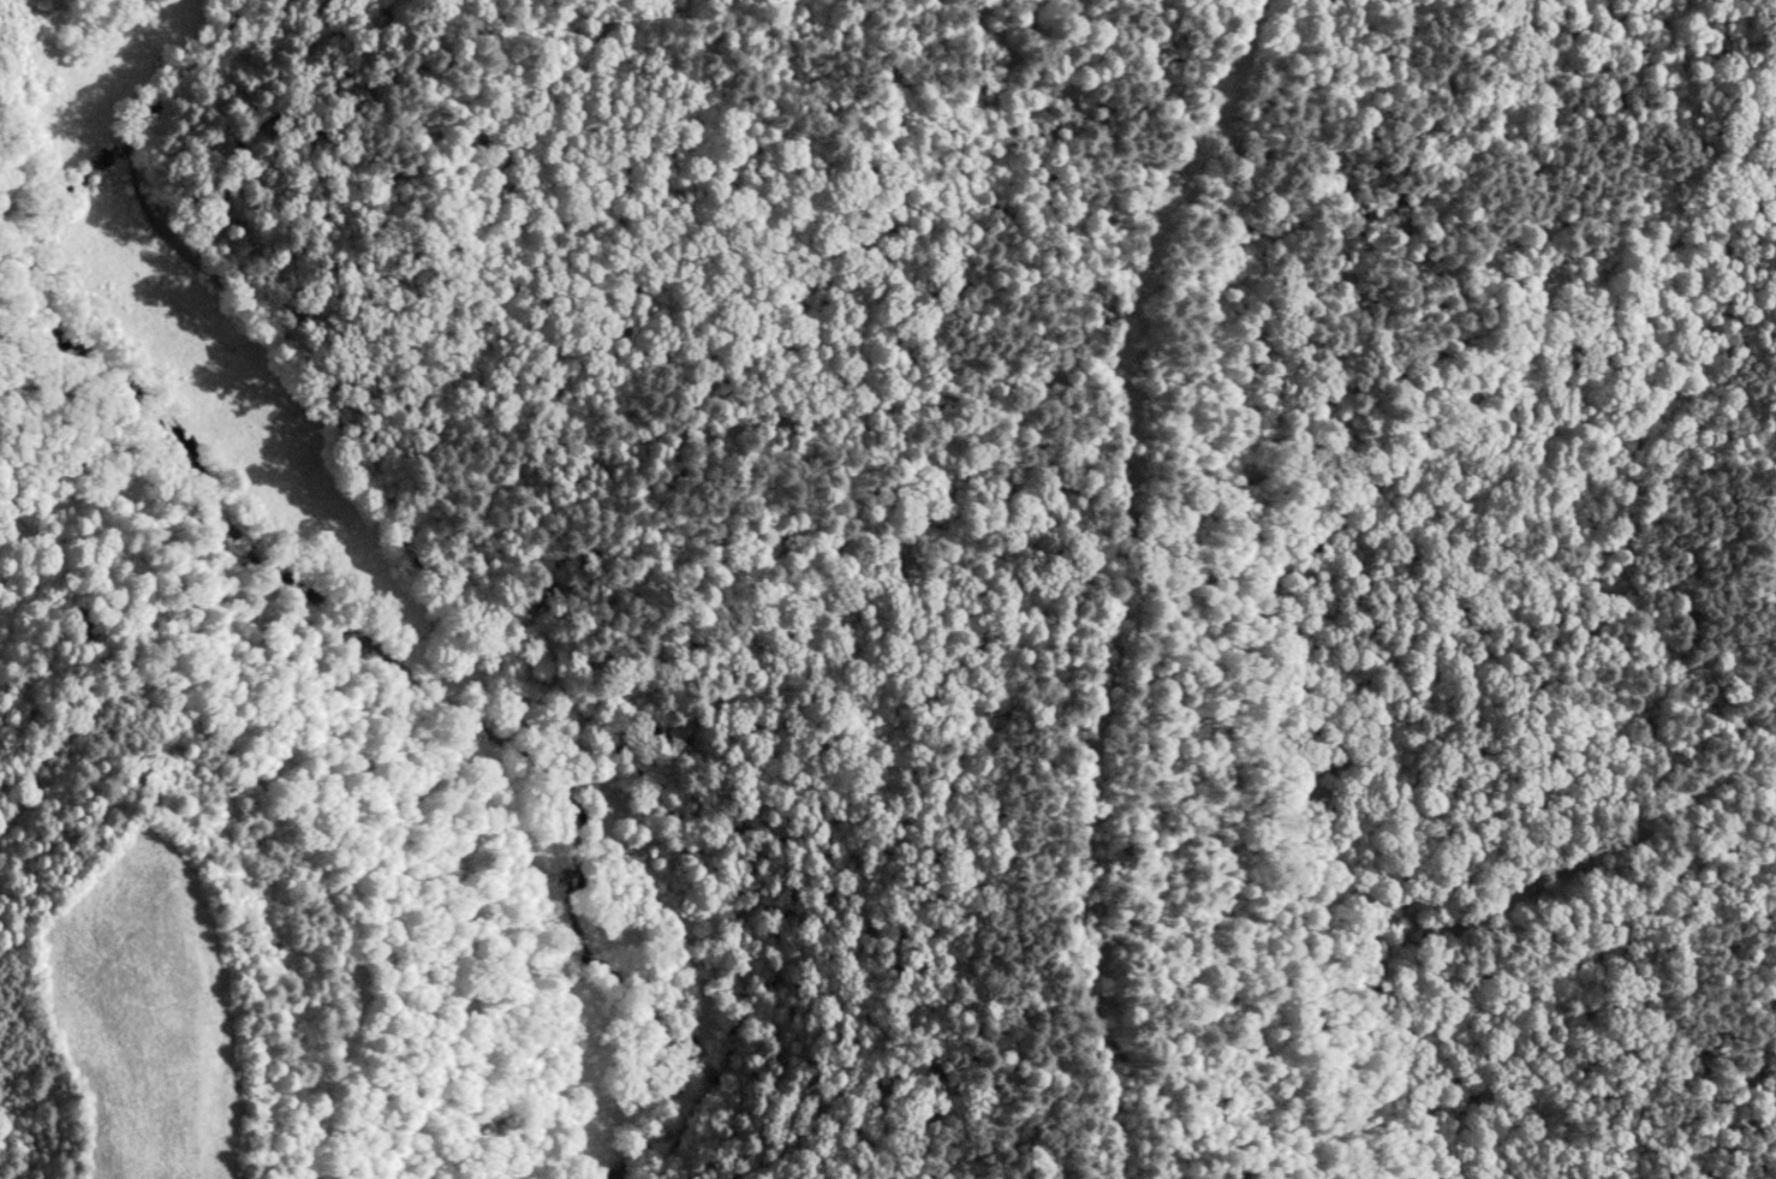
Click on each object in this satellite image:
road: (433, 602)

